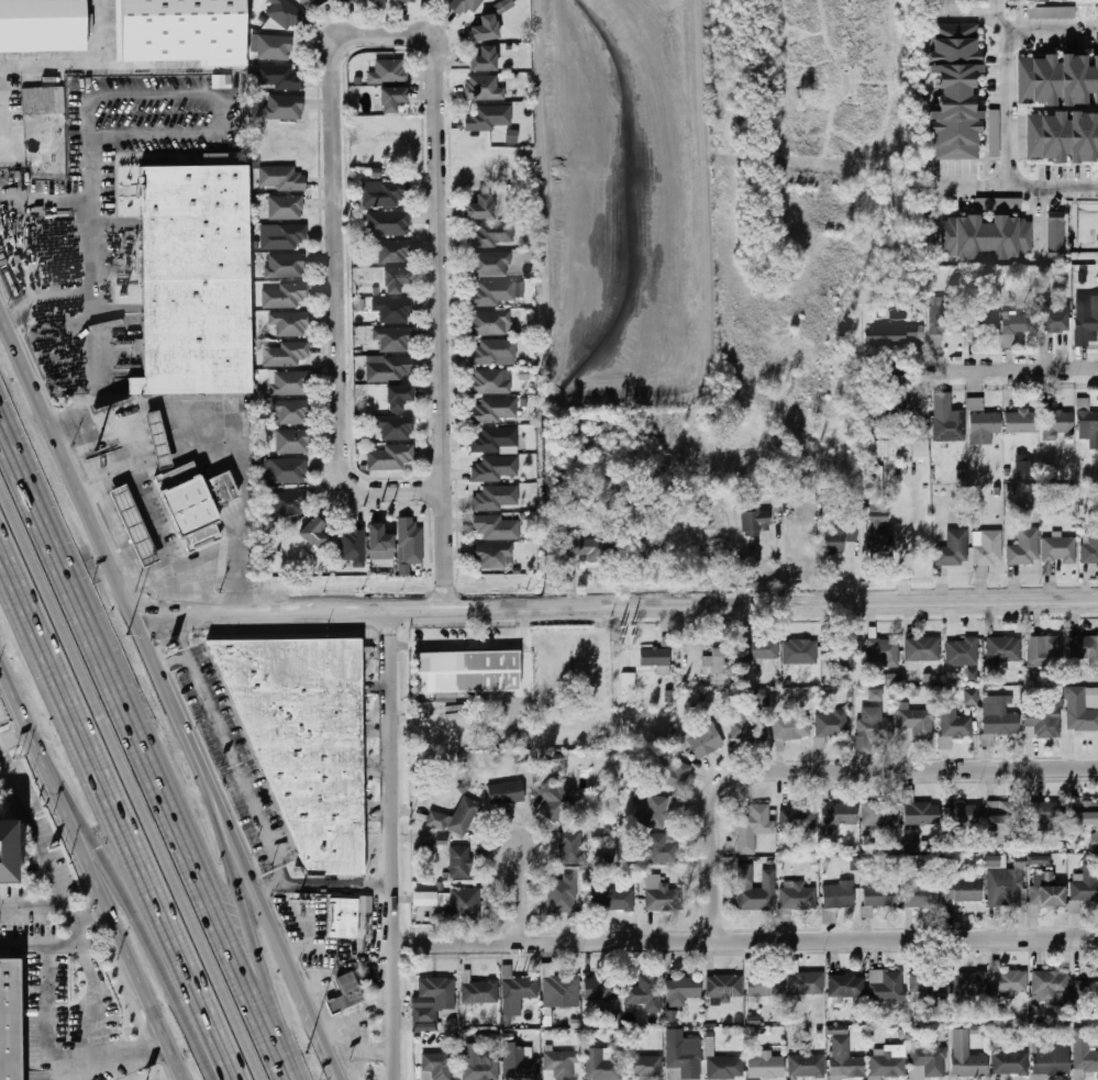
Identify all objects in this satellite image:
building: (406, 0)
building: (442, 0)
building: (345, 1)
building: (934, 1)
building: (1040, 1)
building: (374, 2)
road: (1051, 2)
building: (313, 3)
building: (465, 5)
building: (503, 5)
building: (1051, 12)
building: (286, 13)
building: (42, 25)
building: (486, 29)
building: (179, 31)
road: (1085, 32)
building: (1097, 43)
building: (271, 47)
road: (1046, 52)
building: (484, 59)
building: (389, 71)
building: (280, 77)
building: (1056, 79)
building: (221, 81)
building: (485, 89)
building: (954, 91)
building: (392, 99)
road: (986, 105)
building: (284, 107)
road: (1007, 108)
building: (488, 118)
building: (994, 133)
building: (1061, 137)
road: (89, 143)
building: (281, 177)
building: (386, 193)
building: (998, 203)
building: (286, 208)
building: (480, 208)
building: (391, 223)
building: (1054, 232)
building: (491, 234)
building: (284, 237)
building: (986, 237)
building: (392, 252)
road: (339, 265)
building: (491, 265)
building: (286, 266)
building: (193, 279)
building: (396, 281)
road: (88, 289)
building: (492, 293)
building: (285, 296)
building: (393, 310)
building: (984, 320)
road: (441, 322)
building: (945, 322)
building: (1055, 322)
building: (289, 323)
building: (489, 323)
building: (1086, 323)
building: (1017, 326)
building: (899, 335)
building: (393, 339)
building: (493, 353)
building: (285, 354)
road: (1020, 368)
road: (95, 369)
building: (389, 369)
building: (491, 381)
building: (289, 383)
building: (398, 397)
building: (975, 404)
building: (495, 410)
building: (291, 413)
building: (949, 420)
building: (1021, 421)
building: (1056, 422)
building: (1087, 424)
building: (395, 427)
building: (985, 427)
road: (222, 437)
building: (157, 439)
gas station: (157, 439)
building: (496, 439)
building: (292, 442)
building: (900, 450)
building: (388, 457)
road: (109, 468)
building: (496, 469)
building: (1023, 469)
building: (286, 471)
building: (876, 497)
building: (497, 498)
building: (195, 500)
building: (289, 503)
road: (151, 514)
building: (755, 521)
building: (133, 526)
gas station: (133, 526)
building: (498, 526)
building: (314, 532)
building: (834, 539)
road: (104, 541)
building: (410, 542)
building: (881, 542)
road: (123, 543)
building: (380, 543)
building: (1094, 543)
building: (354, 546)
building: (581, 547)
building: (988, 547)
building: (953, 548)
building: (1024, 548)
building: (1060, 549)
building: (492, 556)
road: (208, 571)
road: (131, 579)
road: (617, 604)
road: (474, 639)
building: (1085, 648)
building: (761, 649)
building: (923, 649)
building: (1005, 649)
building: (800, 652)
building: (963, 652)
building: (1045, 652)
building: (885, 653)
building: (843, 654)
road: (173, 659)
building: (656, 659)
building: (716, 661)
building: (467, 671)
building: (972, 675)
building: (628, 683)
building: (971, 697)
building: (762, 699)
building: (1083, 709)
building: (998, 720)
building: (1043, 721)
building: (832, 724)
building: (916, 724)
building: (955, 724)
building: (875, 726)
building: (747, 727)
building: (792, 727)
road: (15, 730)
road: (141, 734)
building: (701, 739)
building: (306, 741)
road: (1, 749)
road: (234, 759)
road: (829, 770)
building: (673, 773)
road: (132, 778)
building: (506, 793)
building: (557, 795)
building: (654, 812)
building: (1045, 812)
road: (118, 813)
building: (921, 813)
building: (1084, 813)
building: (880, 814)
building: (838, 815)
building: (464, 816)
building: (963, 816)
building: (799, 819)
road: (32, 820)
building: (1005, 820)
building: (751, 827)
building: (426, 839)
building: (911, 839)
building: (1095, 842)
road: (395, 844)
building: (572, 847)
building: (663, 848)
building: (4, 851)
building: (609, 858)
building: (1039, 860)
building: (461, 861)
road: (95, 867)
road: (340, 882)
building: (1086, 884)
building: (1006, 888)
building: (756, 889)
building: (920, 890)
building: (964, 890)
building: (1045, 892)
road: (514, 894)
building: (662, 894)
building: (839, 894)
building: (798, 895)
building: (563, 897)
building: (881, 897)
road: (44, 899)
building: (613, 900)
building: (452, 905)
road: (244, 911)
building: (783, 914)
road: (142, 916)
building: (345, 920)
road: (277, 926)
road: (746, 940)
road: (24, 946)
road: (47, 970)
building: (929, 981)
building: (1010, 982)
building: (765, 983)
building: (806, 983)
building: (968, 983)
building: (1050, 983)
building: (887, 986)
building: (846, 987)
building: (1087, 987)
building: (521, 988)
building: (559, 988)
building: (603, 989)
building: (647, 989)
building: (723, 989)
building: (683, 991)
building: (480, 992)
building: (346, 993)
building: (433, 999)
road: (97, 1006)
building: (10, 1018)
building: (709, 1044)
building: (1084, 1053)
building: (967, 1057)
road: (129, 1059)
building: (684, 1059)
building: (844, 1059)
building: (1051, 1060)
building: (888, 1062)
building: (1010, 1062)
road: (291, 1064)
building: (520, 1064)
building: (602, 1064)
building: (928, 1064)
building: (765, 1065)
building: (481, 1066)
building: (561, 1066)
building: (806, 1066)
building: (437, 1067)
building: (643, 1067)
building: (724, 1068)

